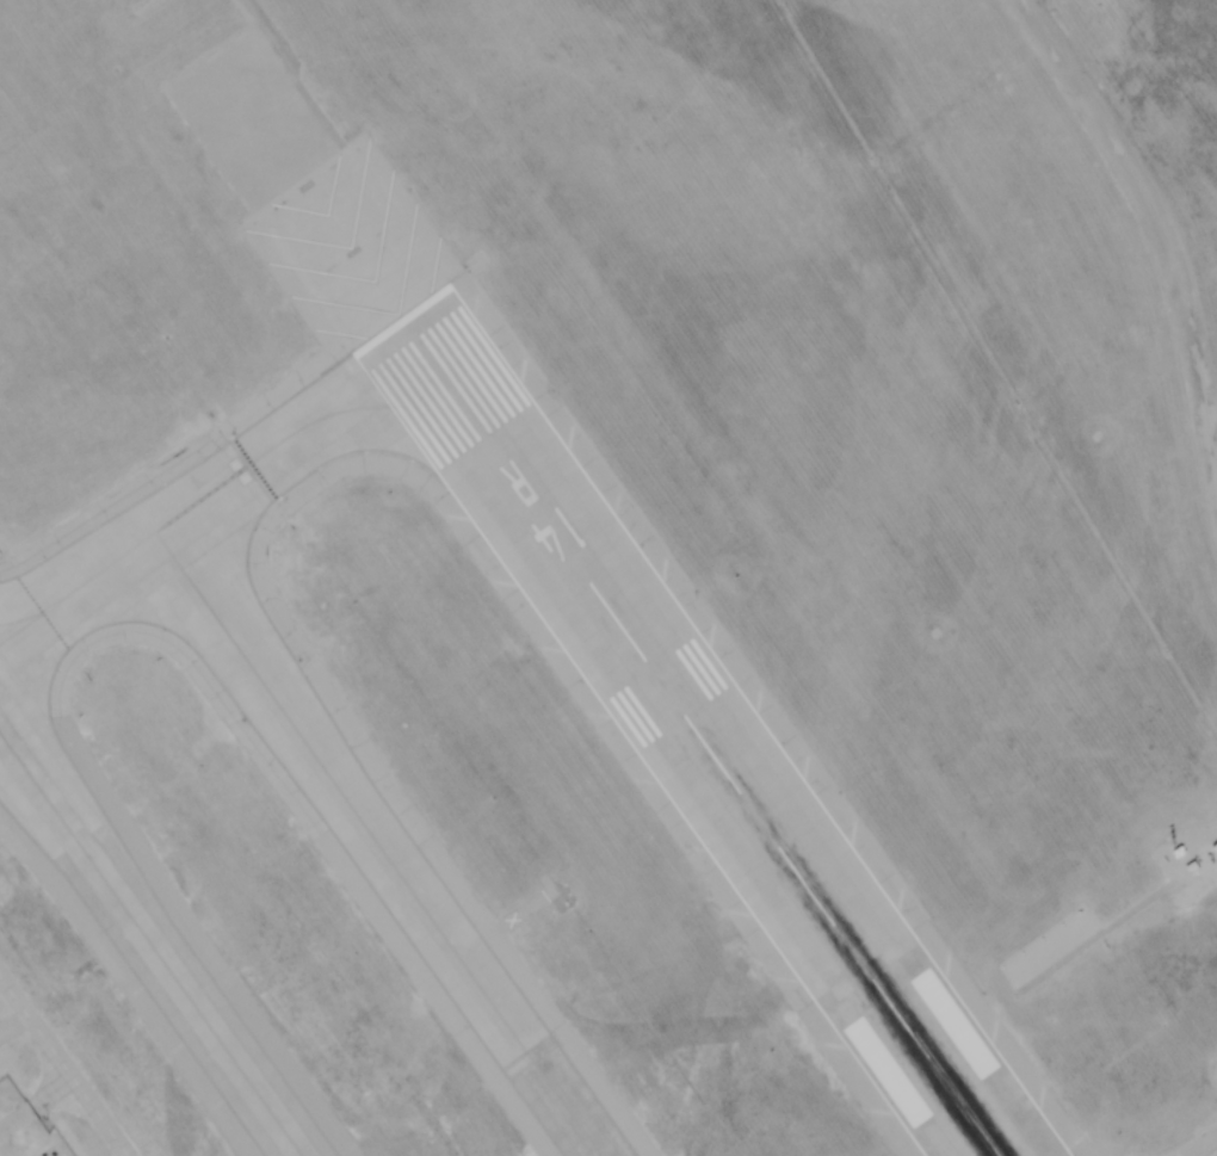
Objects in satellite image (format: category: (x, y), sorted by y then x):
road: (258, 21)
road: (1157, 220)
airport taxiway: (231, 477)
airport: (608, 577)
airport taxiway: (27, 617)
airport runway: (699, 738)
airport taxiway: (382, 843)
road: (1112, 921)
airport taxiway: (152, 945)
road: (64, 1064)
road: (37, 1106)

